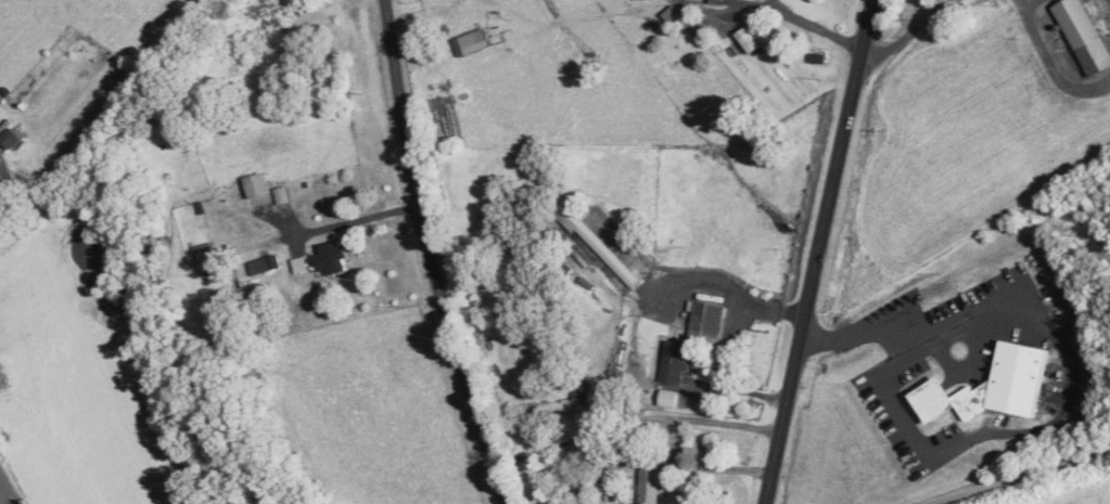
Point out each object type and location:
building: (673, 12)
road: (815, 26)
road: (909, 31)
building: (1086, 34)
building: (751, 38)
building: (472, 40)
road: (1051, 62)
building: (13, 135)
road: (2, 180)
building: (258, 183)
building: (282, 193)
building: (261, 198)
road: (357, 219)
building: (599, 221)
building: (599, 243)
road: (818, 251)
building: (207, 256)
building: (331, 256)
road: (429, 256)
building: (264, 262)
building: (302, 262)
road: (750, 301)
building: (707, 320)
building: (676, 360)
road: (1072, 380)
building: (994, 385)
road: (737, 389)
building: (604, 393)
building: (669, 397)
road: (703, 419)
road: (1020, 474)
building: (651, 483)

